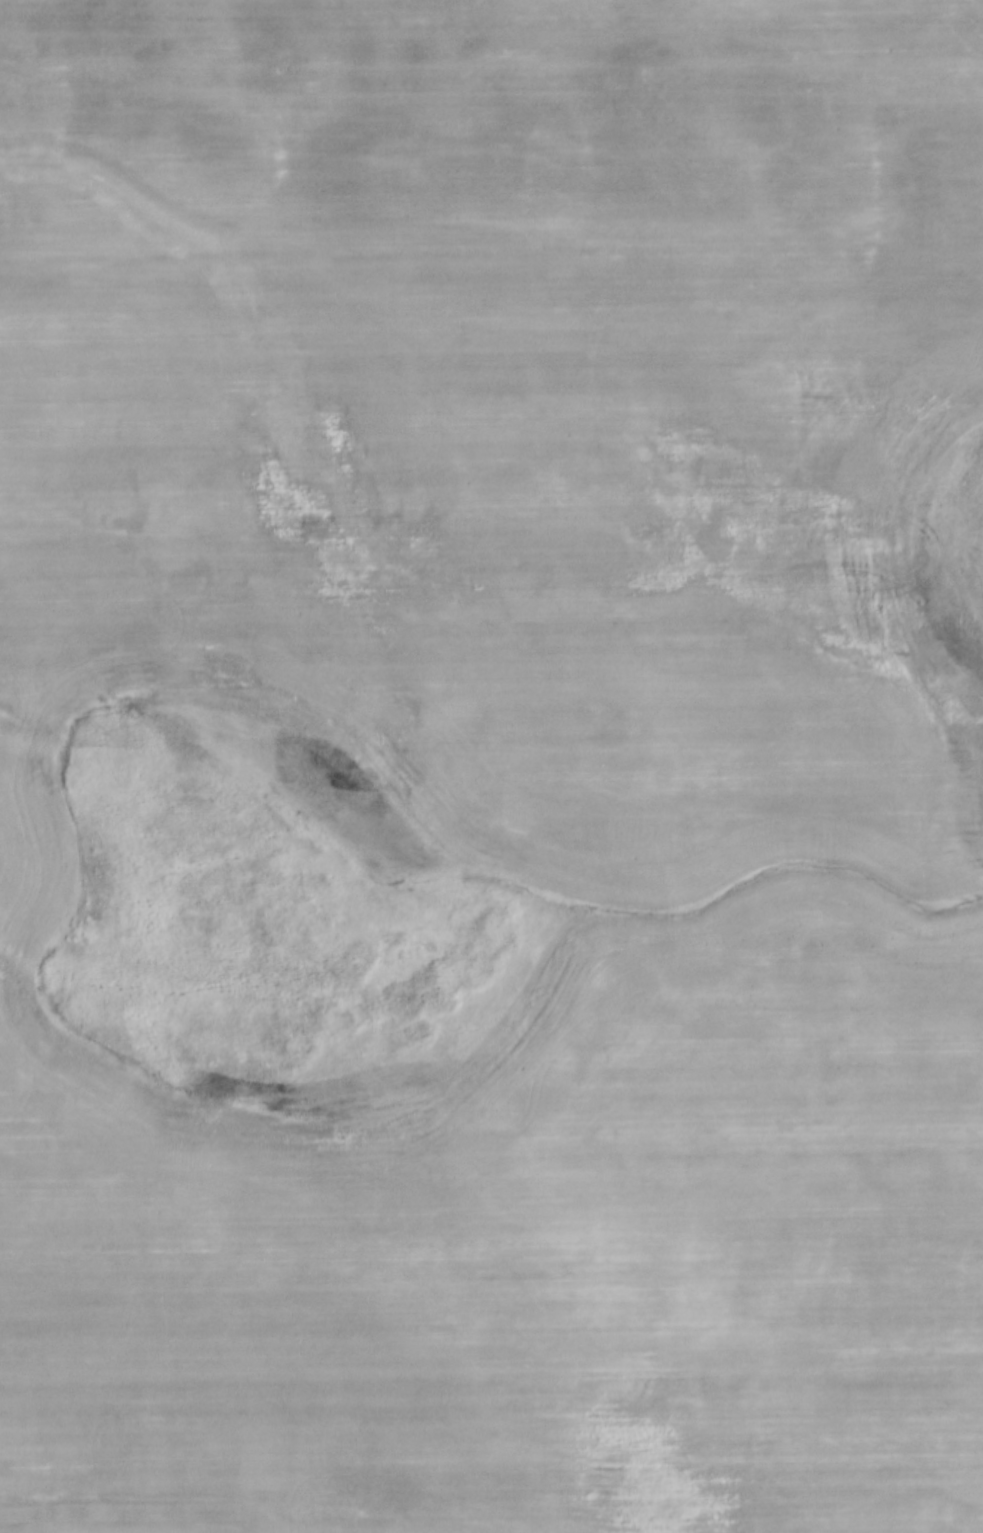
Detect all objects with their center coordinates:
road: (975, 3)

